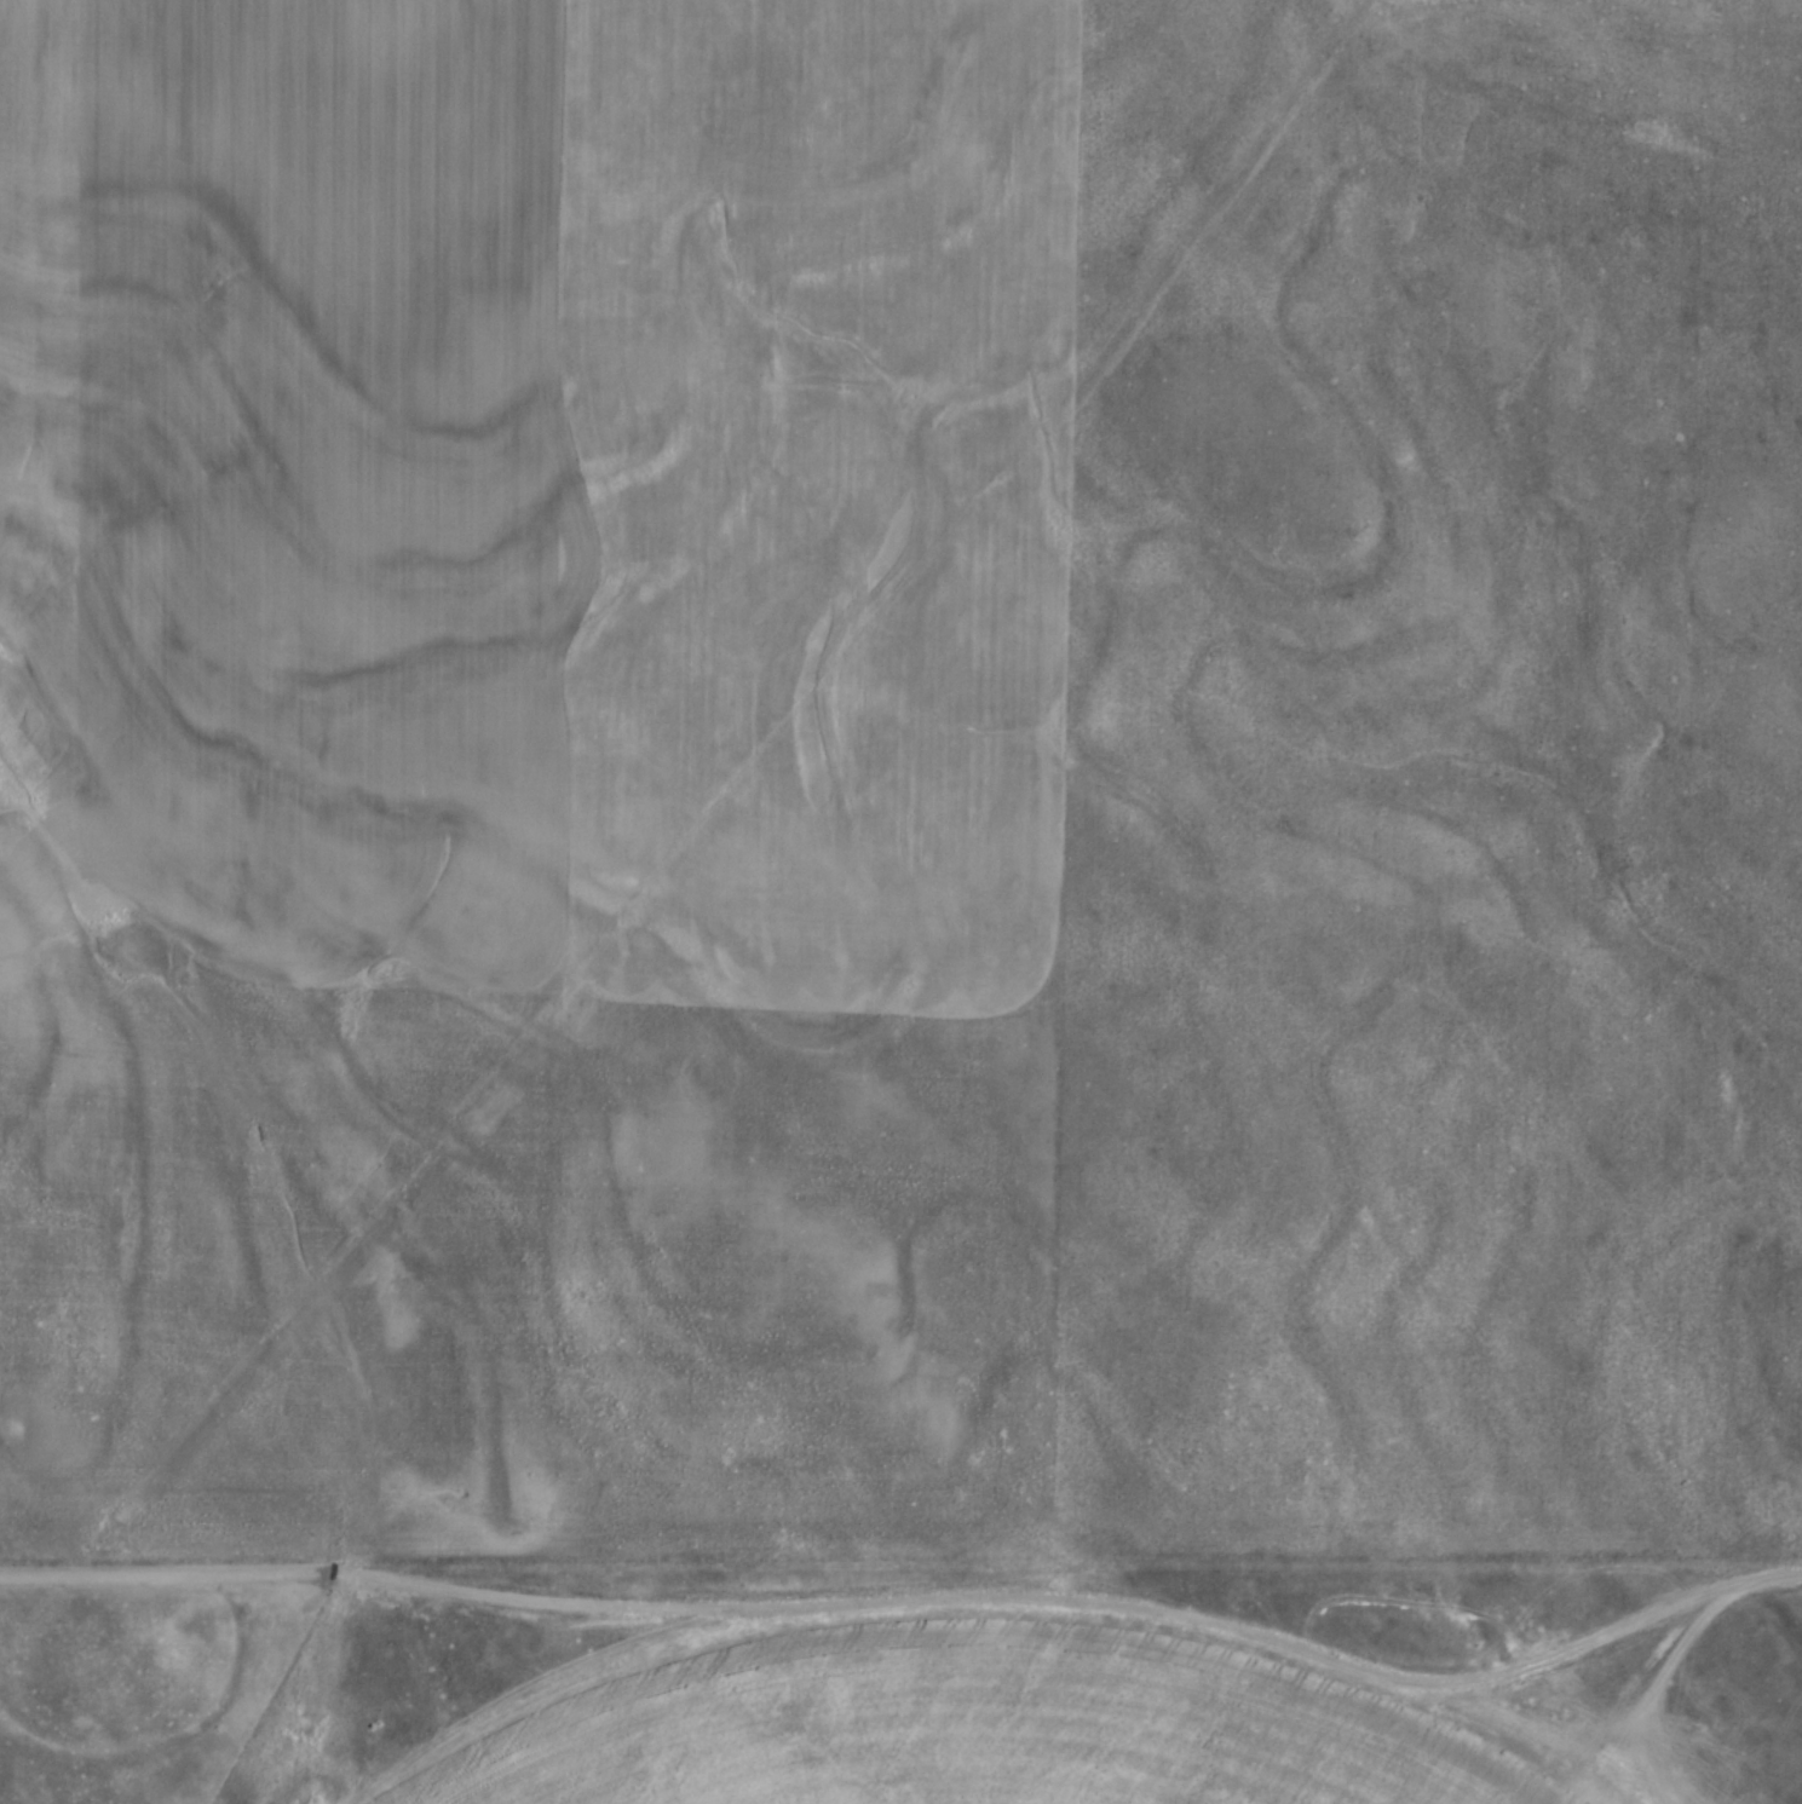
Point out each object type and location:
crop: (530, 766)
road: (915, 1589)

